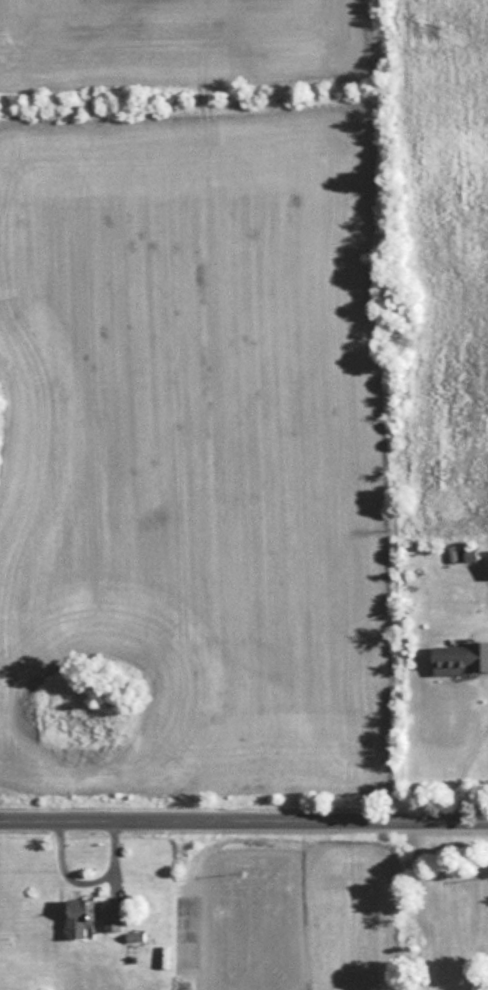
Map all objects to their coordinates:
building: (460, 656)
road: (244, 816)
building: (79, 917)

